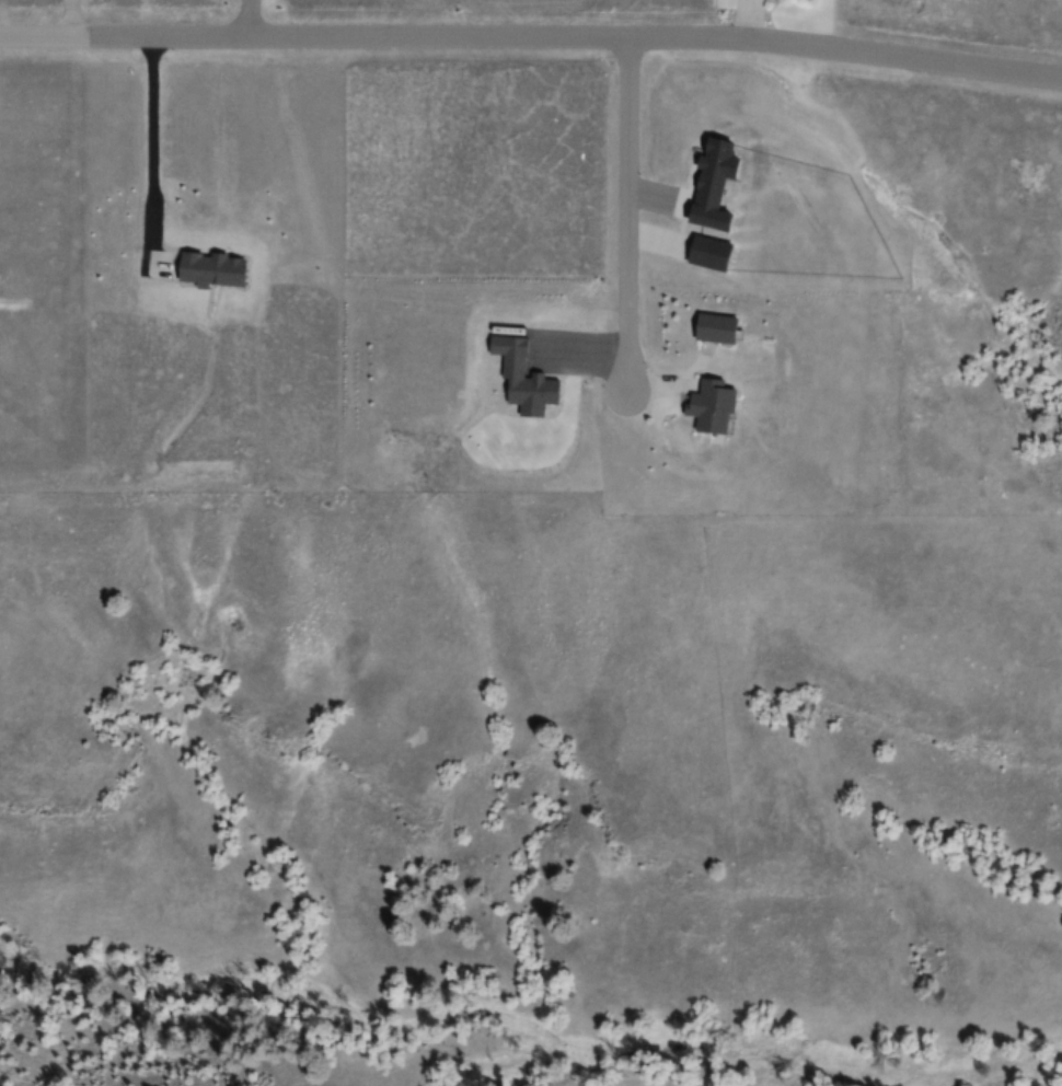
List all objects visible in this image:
road: (246, 18)
road: (532, 35)
road: (627, 222)
building: (716, 327)
building: (712, 405)

